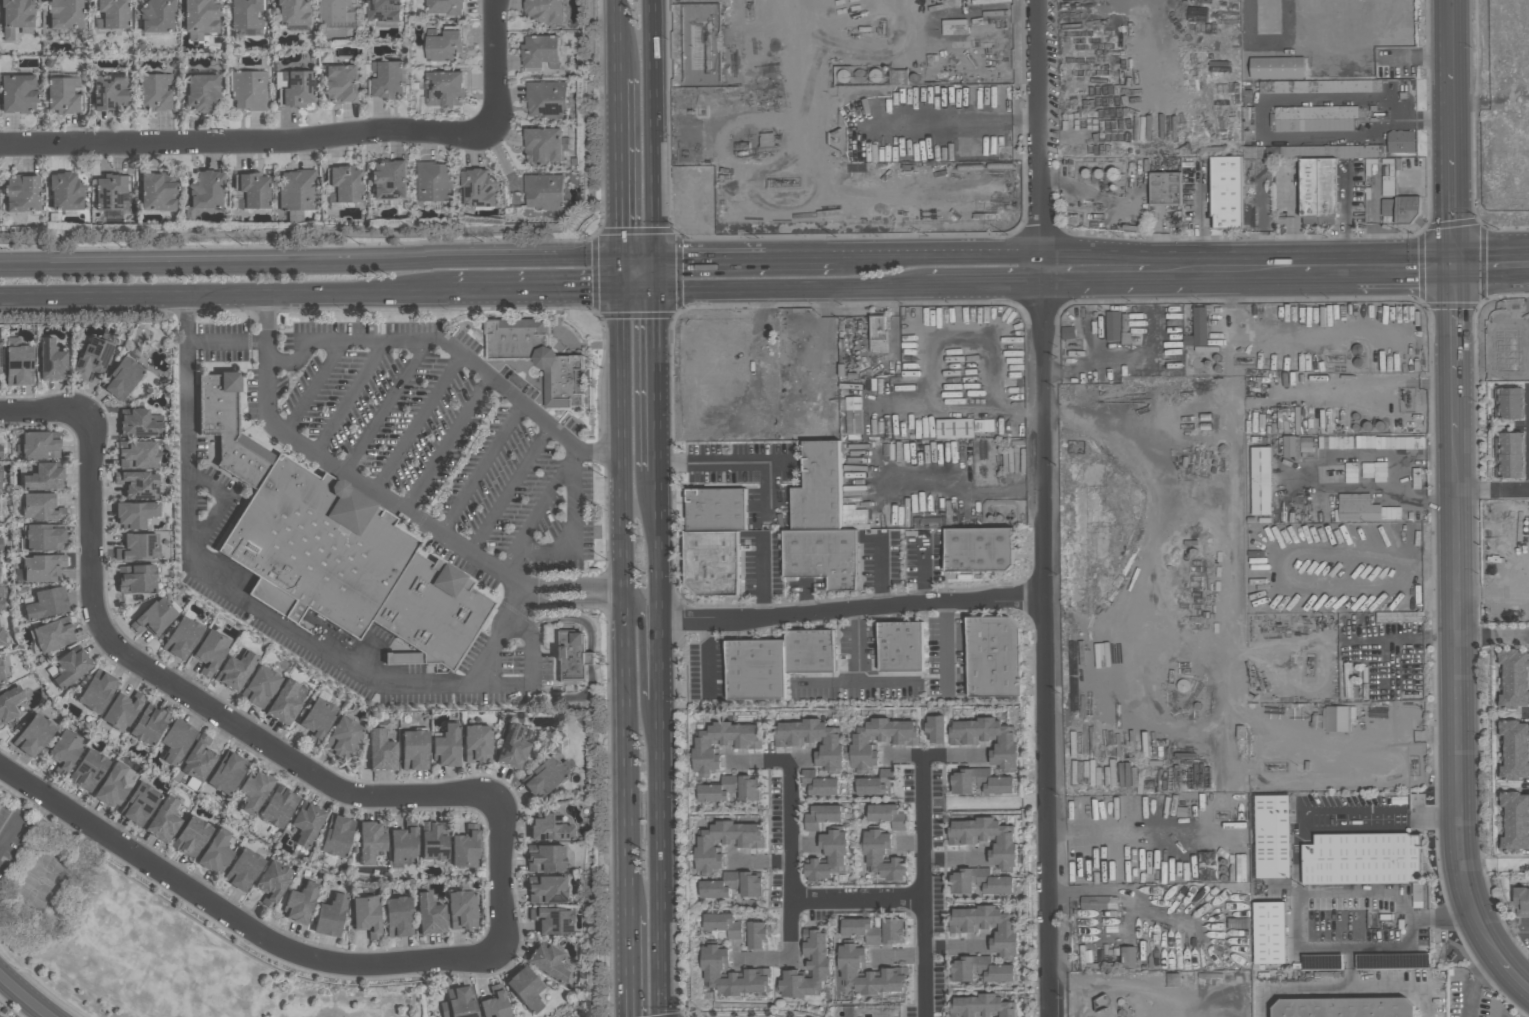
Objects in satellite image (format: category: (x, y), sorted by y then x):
building: (445, 6)
building: (383, 10)
building: (292, 11)
building: (337, 11)
building: (544, 11)
building: (111, 13)
building: (245, 13)
building: (64, 14)
building: (157, 14)
building: (201, 14)
building: (16, 15)
building: (1268, 17)
petroleum well: (883, 27)
road: (1447, 34)
road: (620, 38)
building: (444, 47)
building: (541, 52)
road: (1374, 54)
road: (496, 62)
building: (1276, 67)
building: (900, 77)
building: (388, 78)
building: (340, 84)
building: (1325, 86)
building: (294, 87)
building: (248, 88)
building: (444, 88)
building: (154, 90)
building: (201, 90)
building: (109, 92)
building: (17, 93)
building: (62, 94)
road: (1276, 99)
building: (546, 100)
crop: (1501, 111)
building: (1315, 118)
building: (1248, 123)
road: (657, 129)
road: (247, 141)
building: (1400, 141)
building: (543, 145)
building: (1360, 151)
building: (1253, 152)
road: (1449, 166)
building: (389, 179)
building: (432, 181)
road: (622, 182)
petroleum well: (788, 182)
building: (341, 183)
building: (1319, 186)
building: (1164, 187)
building: (479, 188)
building: (204, 189)
building: (251, 189)
building: (296, 190)
building: (65, 191)
building: (111, 191)
building: (155, 191)
building: (1225, 191)
building: (543, 192)
building: (21, 193)
building: (1388, 201)
building: (1407, 208)
road: (1206, 215)
road: (940, 253)
road: (747, 257)
traffic signals: (623, 258)
road: (641, 258)
traffic signals: (660, 258)
road: (311, 260)
road: (1490, 263)
road: (1404, 264)
traffic signals: (1451, 264)
road: (1329, 265)
road: (1270, 266)
road: (1194, 267)
road: (1095, 268)
road: (661, 273)
road: (986, 284)
road: (795, 288)
traffic signals: (624, 289)
road: (643, 289)
traffic signals: (662, 289)
road: (538, 290)
road: (226, 293)
building: (1112, 325)
building: (1198, 328)
building: (1067, 332)
building: (878, 334)
road: (229, 340)
petroleum well: (1074, 345)
road: (1452, 348)
road: (456, 349)
building: (0, 357)
building: (91, 358)
building: (51, 360)
petroleum well: (1338, 360)
building: (16, 365)
building: (122, 377)
road: (660, 379)
building: (571, 384)
road: (316, 386)
building: (1510, 394)
road: (353, 396)
petroleum well: (1408, 398)
road: (43, 406)
road: (388, 407)
building: (1510, 409)
building: (852, 415)
road: (420, 422)
building: (138, 423)
building: (953, 428)
building: (233, 429)
building: (1509, 439)
road: (623, 441)
road: (450, 444)
building: (38, 445)
building: (0, 451)
building: (136, 454)
building: (1509, 454)
road: (578, 458)
road: (742, 461)
road: (484, 469)
building: (1509, 469)
road: (346, 470)
road: (1309, 472)
building: (0, 475)
petroleum well: (1334, 476)
building: (43, 477)
road: (1396, 479)
building: (1260, 480)
building: (137, 484)
building: (818, 488)
road: (964, 488)
road: (512, 489)
road: (1491, 491)
building: (39, 507)
building: (1357, 507)
road: (545, 508)
road: (1042, 508)
road: (221, 509)
building: (716, 509)
building: (134, 514)
building: (930, 522)
road: (574, 536)
building: (44, 537)
building: (0, 542)
road: (661, 545)
building: (137, 547)
building: (321, 547)
building: (978, 549)
road: (1292, 552)
building: (822, 555)
road: (510, 562)
building: (712, 562)
building: (38, 568)
road: (880, 570)
road: (923, 571)
road: (762, 574)
building: (135, 577)
road: (578, 583)
building: (0, 599)
road: (576, 602)
building: (46, 603)
road: (259, 606)
road: (625, 606)
road: (852, 607)
building: (436, 612)
building: (153, 616)
building: (53, 634)
building: (181, 637)
road: (1492, 637)
building: (1, 638)
road: (856, 644)
road: (945, 644)
building: (900, 647)
building: (209, 651)
building: (810, 651)
road: (707, 655)
building: (404, 656)
building: (575, 656)
building: (1511, 656)
road: (641, 657)
building: (993, 657)
road: (663, 660)
petroleum well: (1358, 663)
petroleum well: (1311, 665)
building: (70, 667)
building: (755, 669)
building: (235, 670)
building: (1514, 670)
road: (533, 672)
petroleum well: (1252, 676)
building: (1, 677)
road: (854, 681)
building: (1513, 684)
building: (260, 686)
road: (1455, 689)
building: (96, 691)
building: (1514, 699)
building: (9, 703)
building: (284, 703)
building: (121, 711)
building: (317, 717)
building: (1338, 718)
building: (148, 724)
building: (934, 729)
building: (1513, 729)
road: (252, 734)
building: (32, 736)
building: (341, 737)
road: (1403, 737)
building: (988, 739)
building: (175, 740)
building: (879, 740)
building: (1514, 743)
building: (476, 744)
building: (721, 745)
building: (445, 746)
building: (512, 747)
building: (831, 749)
building: (381, 750)
building: (413, 750)
building: (64, 751)
road: (936, 754)
building: (1514, 757)
building: (197, 761)
road: (762, 761)
petroleum well: (1415, 763)
petroleum well: (1276, 765)
road: (627, 767)
building: (88, 770)
building: (1513, 771)
building: (230, 773)
building: (542, 776)
building: (874, 783)
building: (979, 783)
building: (818, 784)
building: (111, 786)
building: (731, 789)
building: (254, 790)
building: (1512, 799)
building: (139, 804)
building: (278, 805)
road: (1387, 811)
building: (1514, 811)
petroleum well: (1224, 814)
building: (822, 816)
building: (887, 816)
building: (163, 819)
building: (306, 822)
building: (1515, 825)
building: (549, 828)
road: (9, 832)
building: (336, 835)
building: (190, 836)
building: (1271, 836)
building: (985, 839)
building: (433, 840)
building: (370, 841)
building: (1514, 841)
road: (803, 842)
building: (404, 843)
building: (724, 843)
building: (465, 847)
building: (215, 851)
building: (544, 857)
building: (828, 857)
road: (665, 858)
road: (954, 858)
building: (1361, 858)
building: (881, 859)
road: (790, 861)
road: (758, 862)
building: (242, 869)
building: (271, 880)
building: (978, 882)
building: (732, 885)
road: (922, 886)
building: (547, 890)
road: (1346, 892)
road: (856, 899)
building: (299, 901)
building: (1522, 901)
building: (461, 910)
building: (429, 914)
building: (366, 915)
building: (328, 916)
building: (397, 917)
road: (234, 919)
building: (551, 920)
building: (723, 925)
building: (987, 928)
building: (875, 931)
building: (1268, 932)
road: (1509, 932)
building: (757, 935)
park: (150, 939)
road: (956, 947)
road: (1495, 951)
road: (896, 956)
building: (548, 961)
road: (630, 966)
building: (807, 968)
building: (980, 969)
building: (868, 973)
building: (730, 974)
road: (1514, 976)
road: (1469, 979)
road: (1345, 987)
building: (526, 988)
road: (27, 995)
building: (460, 1002)
building: (495, 1003)
building: (980, 1007)
building: (1344, 1008)
building: (1, 1016)

